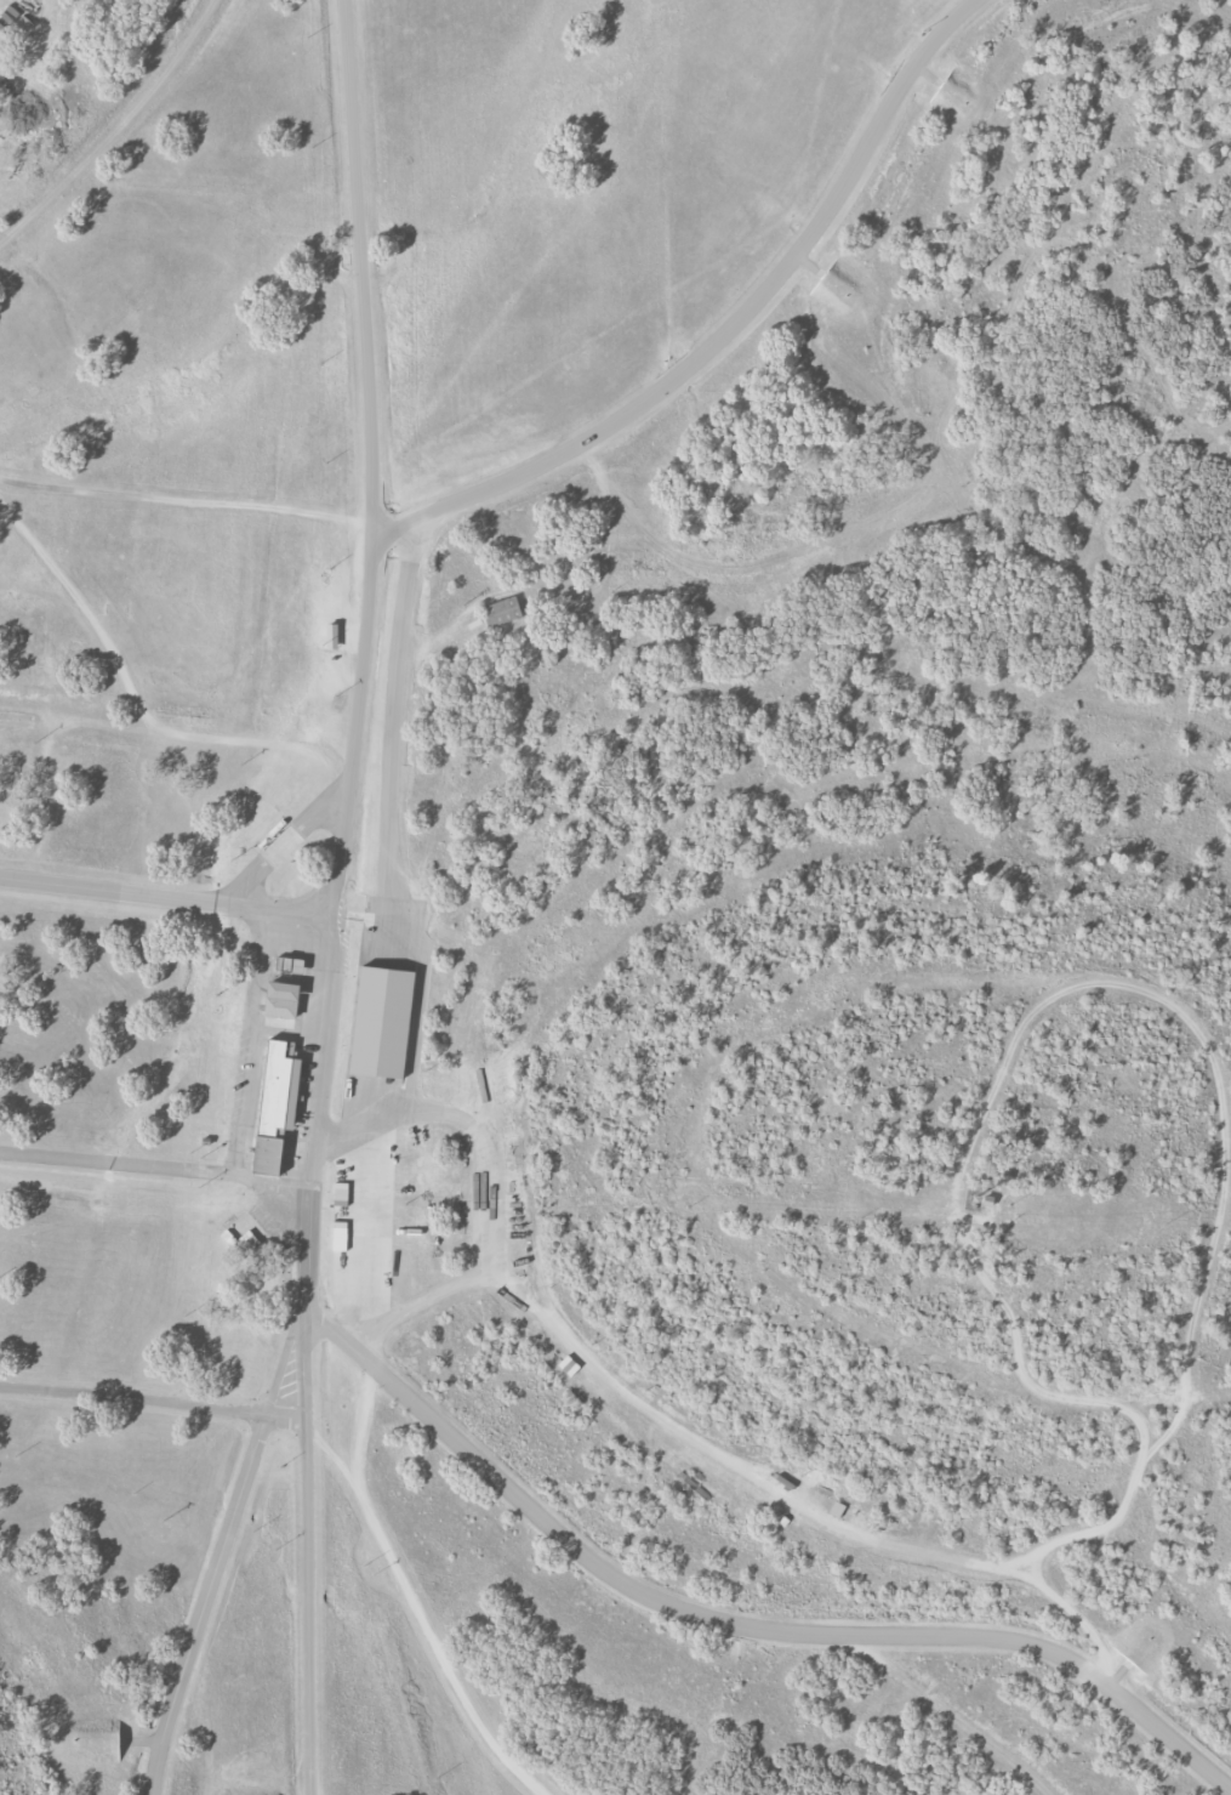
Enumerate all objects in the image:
road: (733, 331)
road: (604, 569)
building: (501, 610)
road: (120, 726)
road: (391, 819)
road: (283, 842)
road: (334, 896)
road: (165, 897)
building: (281, 999)
building: (381, 1022)
building: (277, 1103)
building: (205, 1132)
road: (154, 1168)
road: (415, 1301)
road: (135, 1399)
road: (1181, 1410)
road: (223, 1557)
road: (414, 1594)
road: (740, 1625)
road: (948, 1712)

